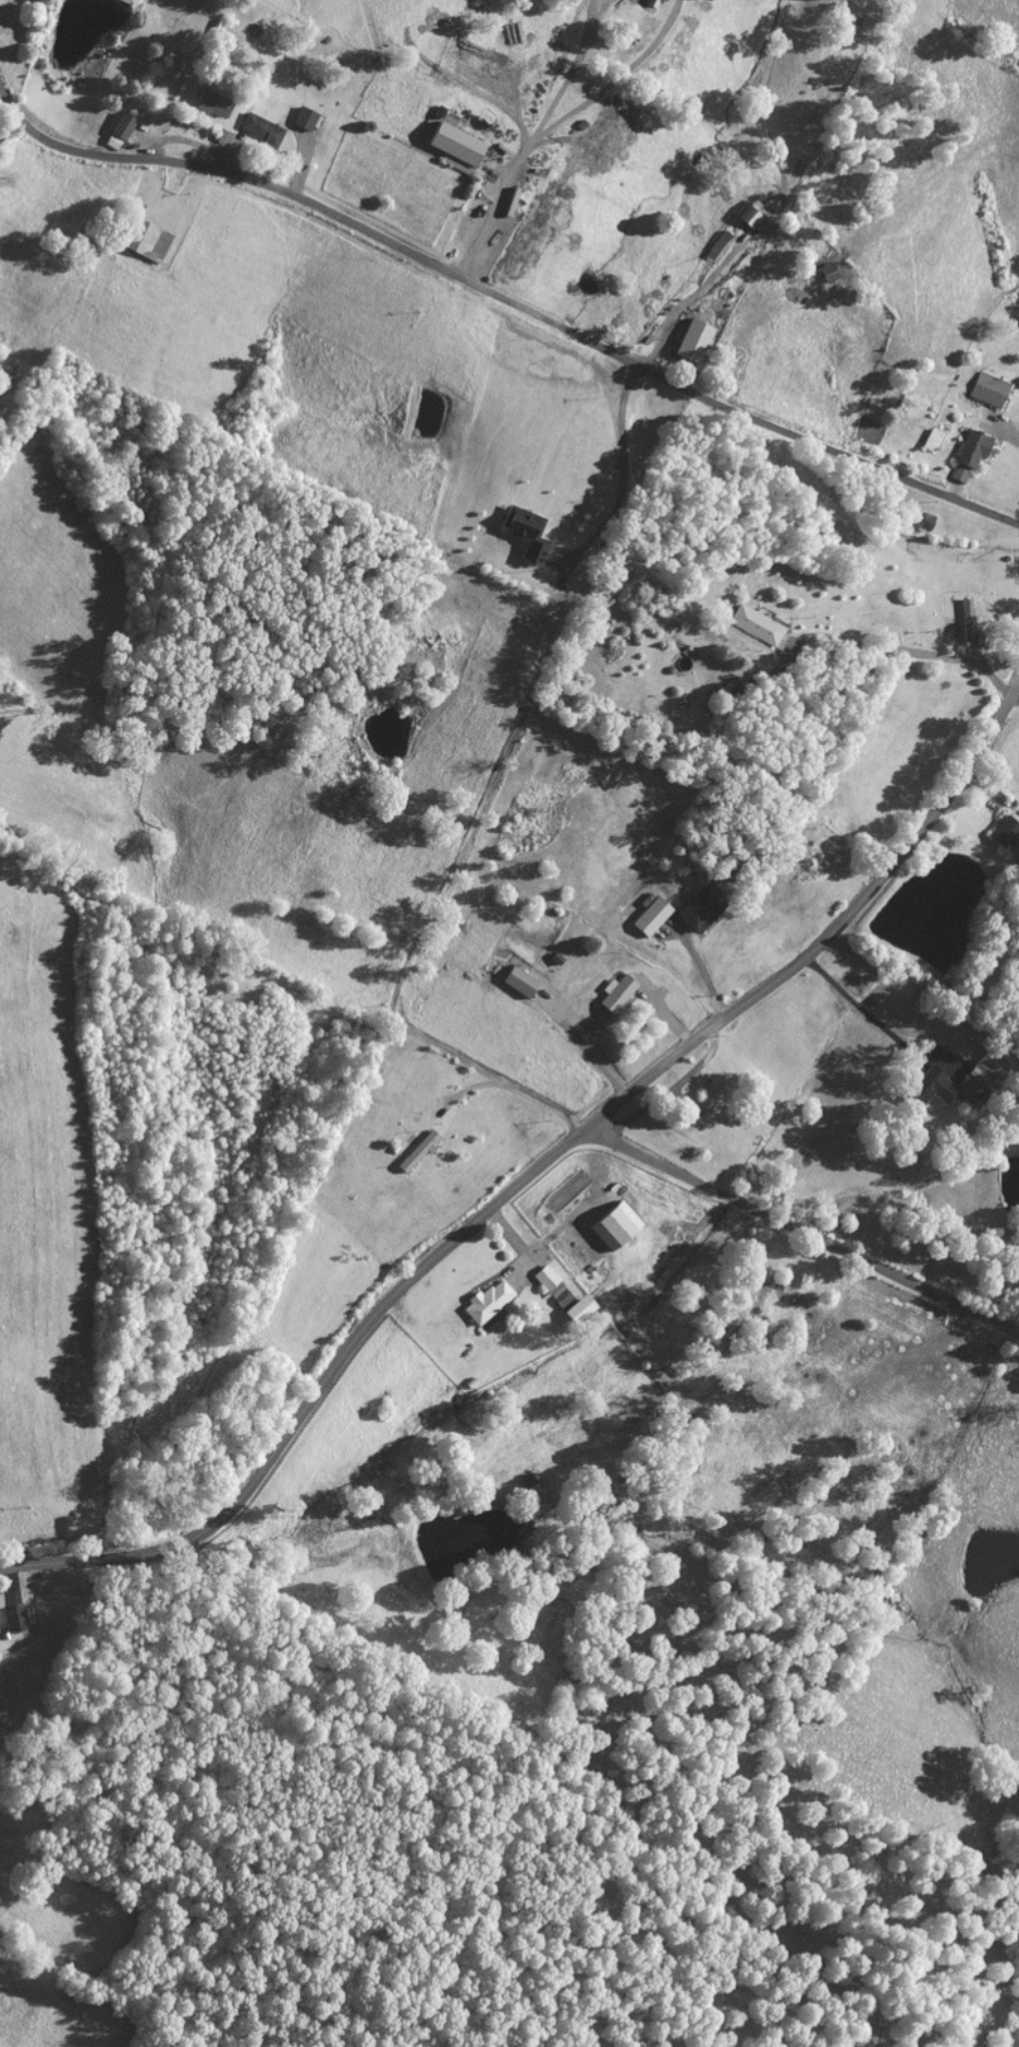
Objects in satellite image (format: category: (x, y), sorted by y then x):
building: (651, 2)
building: (209, 101)
building: (304, 116)
building: (262, 127)
building: (119, 129)
building: (218, 132)
building: (455, 141)
road: (165, 190)
building: (752, 212)
building: (137, 234)
building: (719, 241)
road: (723, 270)
building: (828, 273)
road: (505, 297)
building: (1016, 321)
building: (693, 338)
building: (988, 387)
building: (882, 405)
building: (930, 437)
building: (972, 447)
road: (622, 472)
building: (925, 519)
building: (523, 523)
building: (533, 552)
building: (966, 619)
building: (755, 622)
road: (897, 647)
building: (669, 668)
building: (734, 692)
road: (1015, 692)
road: (986, 791)
building: (1004, 830)
building: (660, 905)
building: (699, 905)
building: (555, 956)
building: (520, 980)
building: (617, 993)
building: (979, 1074)
road: (493, 1082)
building: (936, 1083)
building: (918, 1094)
building: (416, 1152)
road: (533, 1172)
building: (612, 1225)
road: (801, 1234)
building: (552, 1287)
building: (485, 1302)
building: (577, 1310)
building: (14, 1617)

